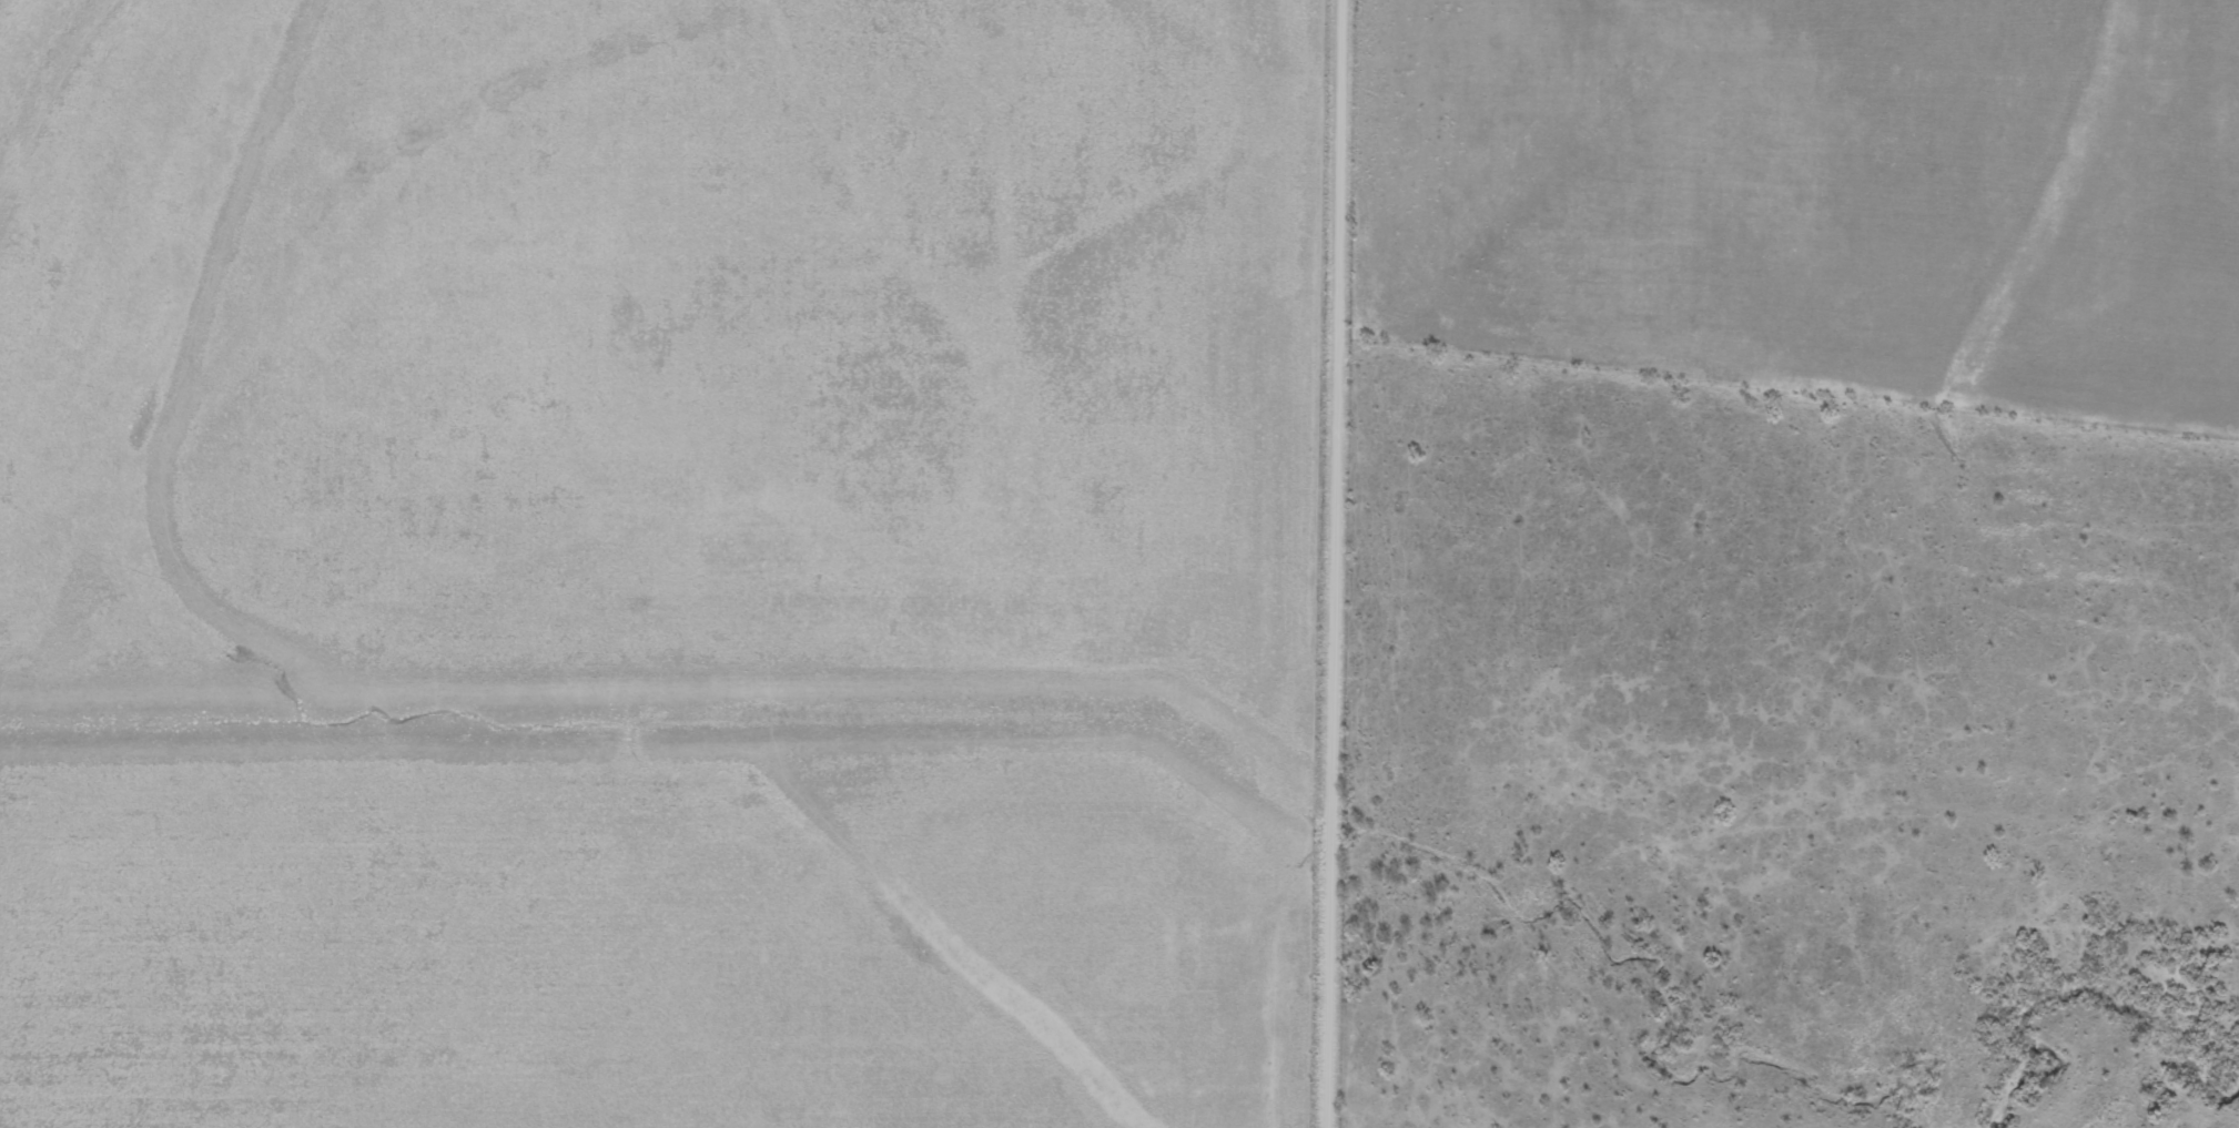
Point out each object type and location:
road: (1336, 563)

